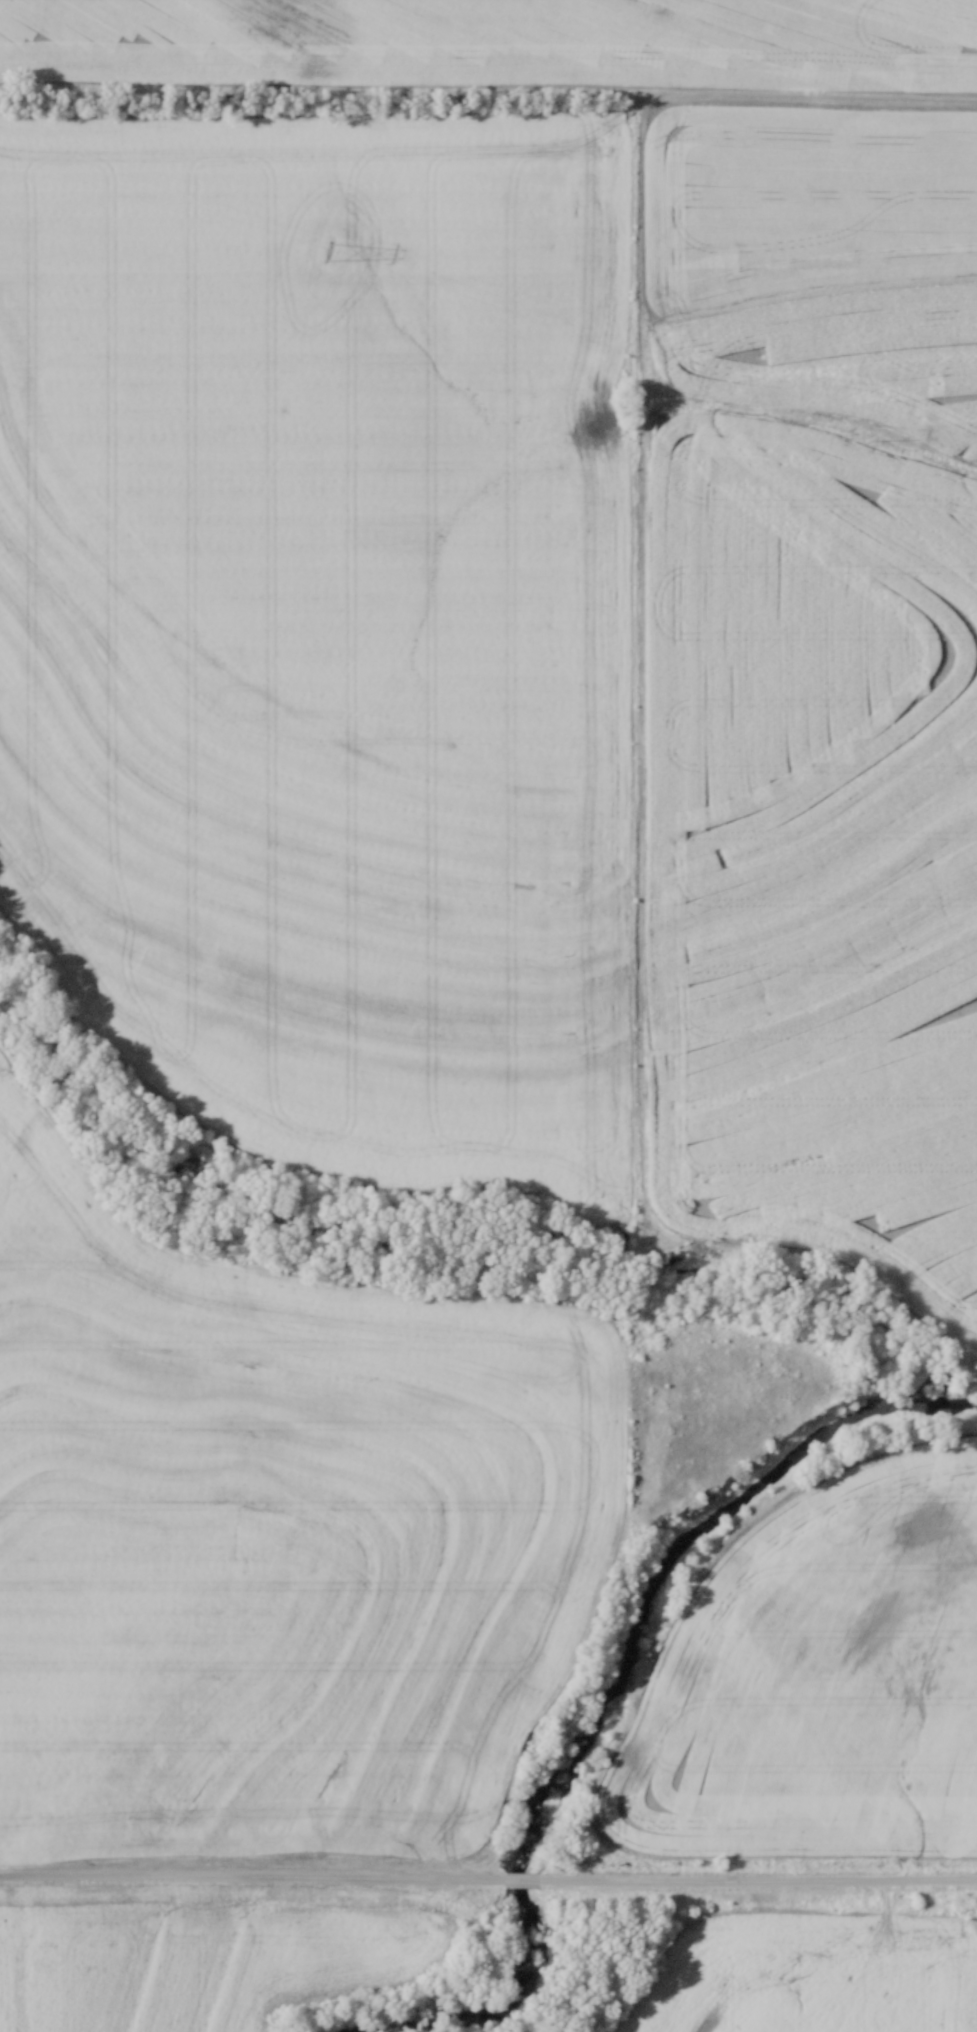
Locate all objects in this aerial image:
power tower: (329, 255)
power tower: (872, 435)
road: (248, 1877)
road: (519, 1878)
road: (760, 1879)

